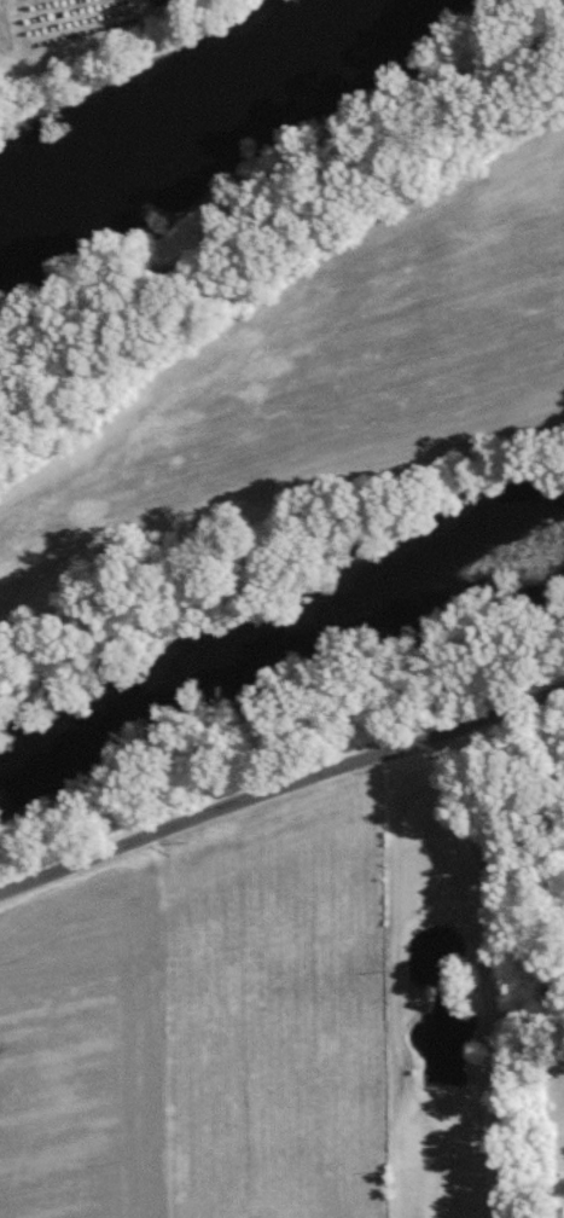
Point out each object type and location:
river: (199, 93)
river: (279, 654)
road: (279, 772)
road: (489, 967)

